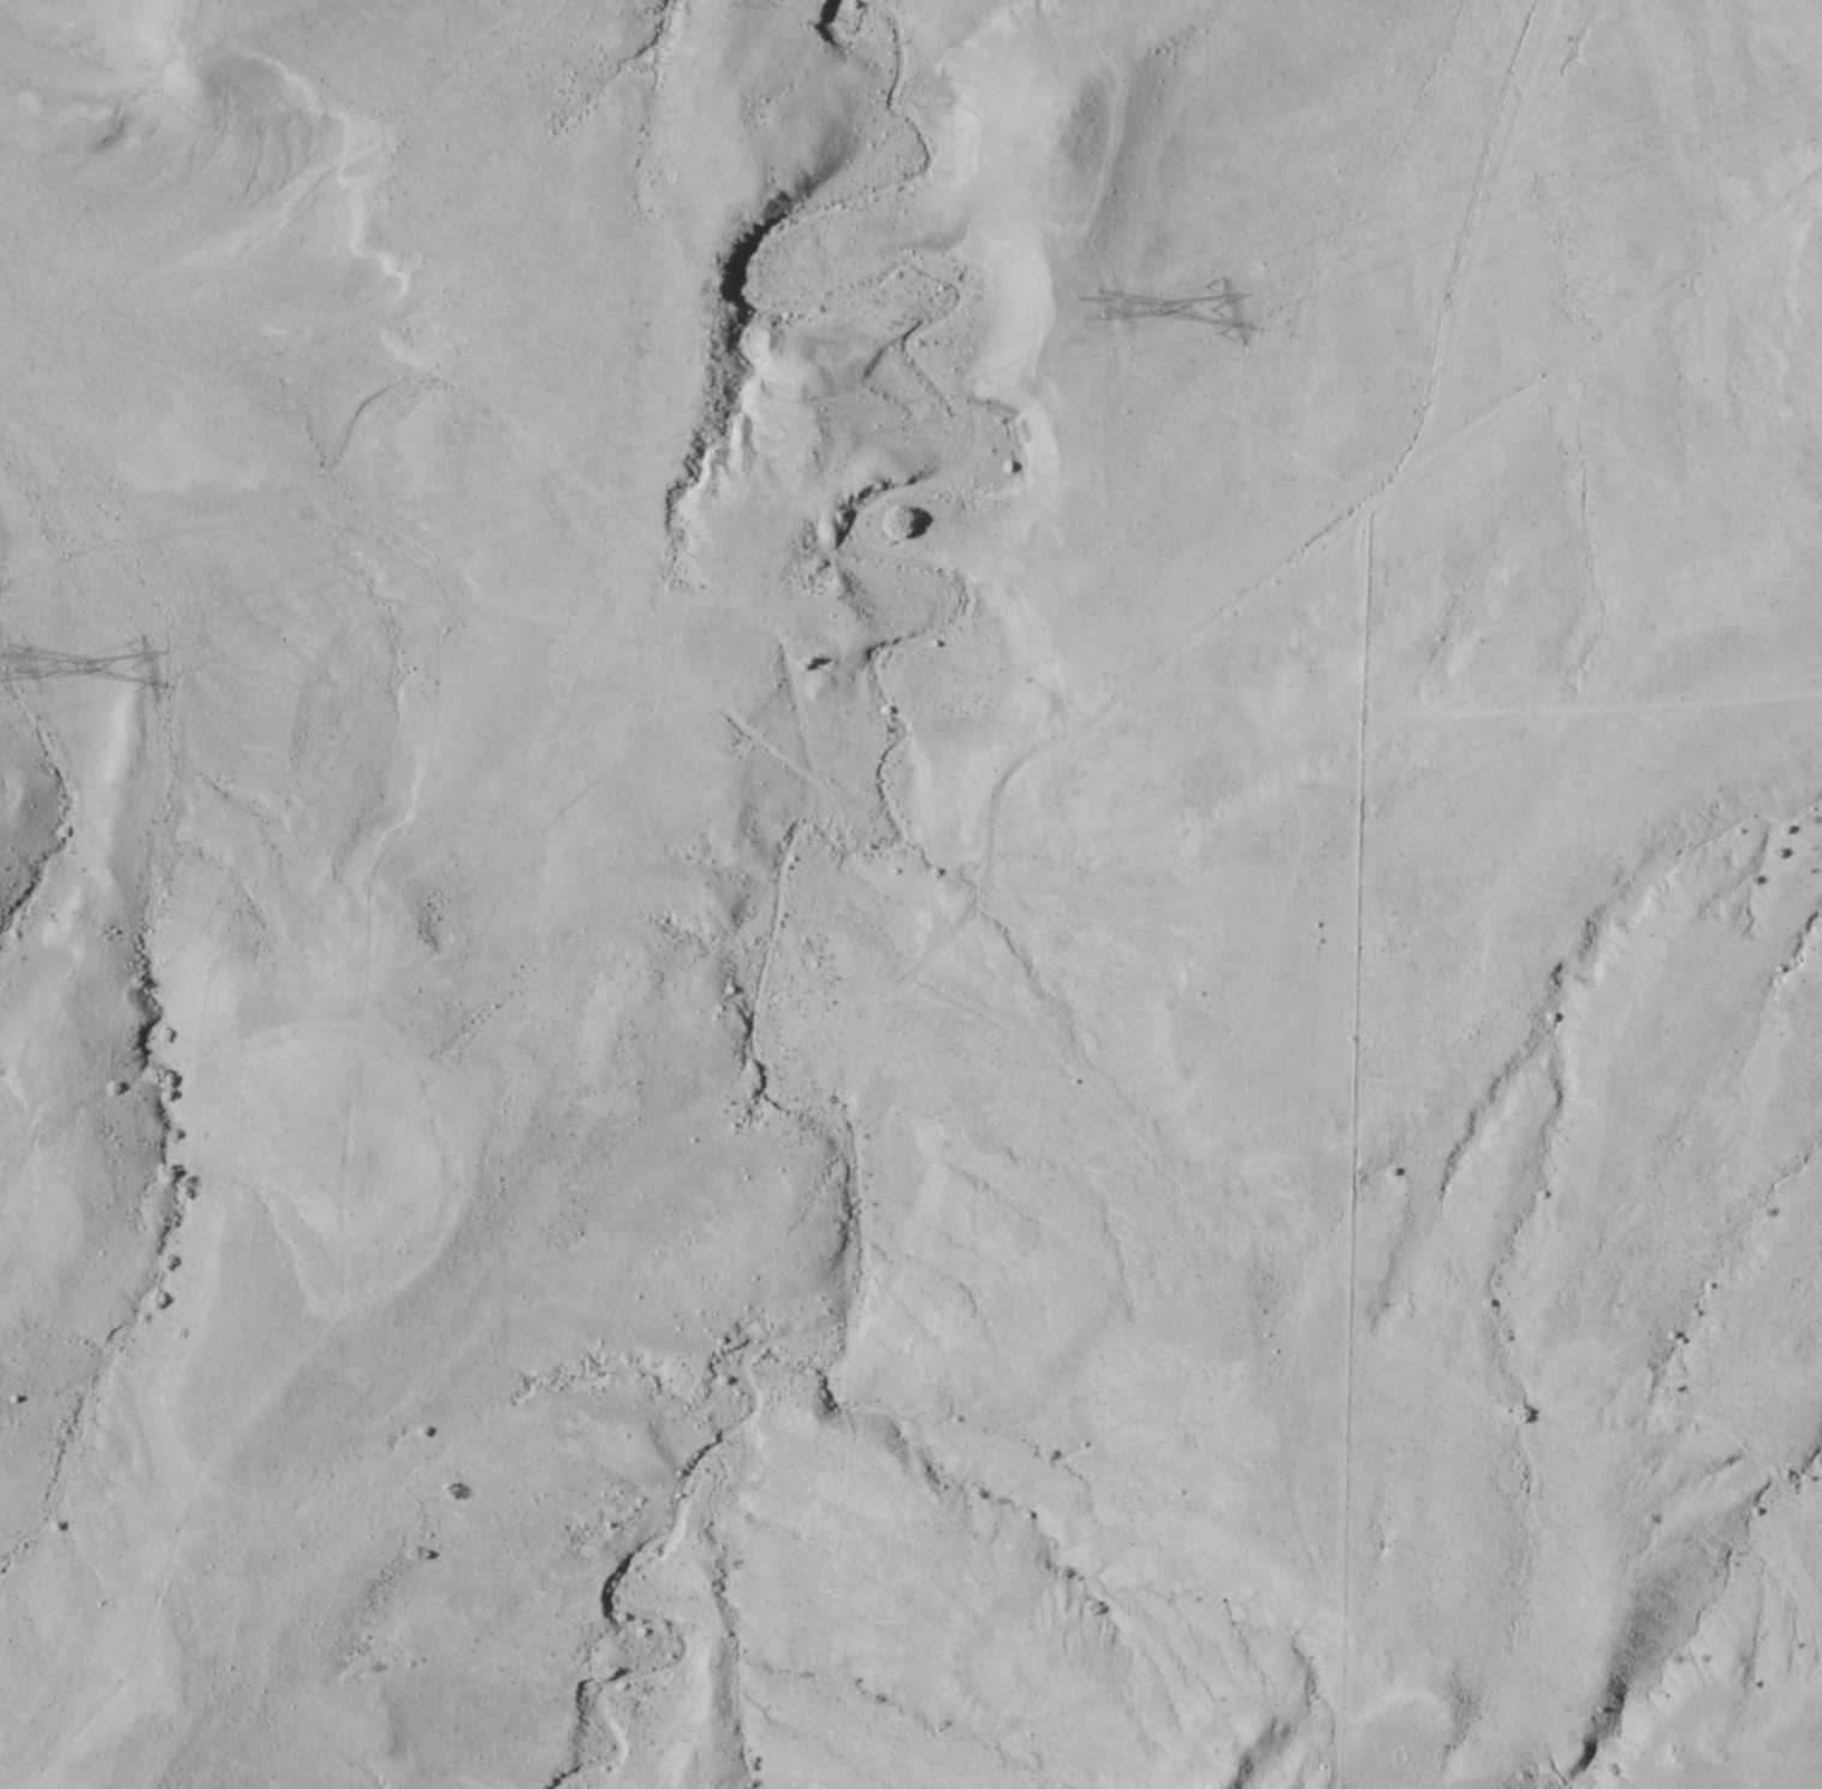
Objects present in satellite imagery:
road: (1470, 235)
power tower: (1098, 308)
road: (896, 937)

